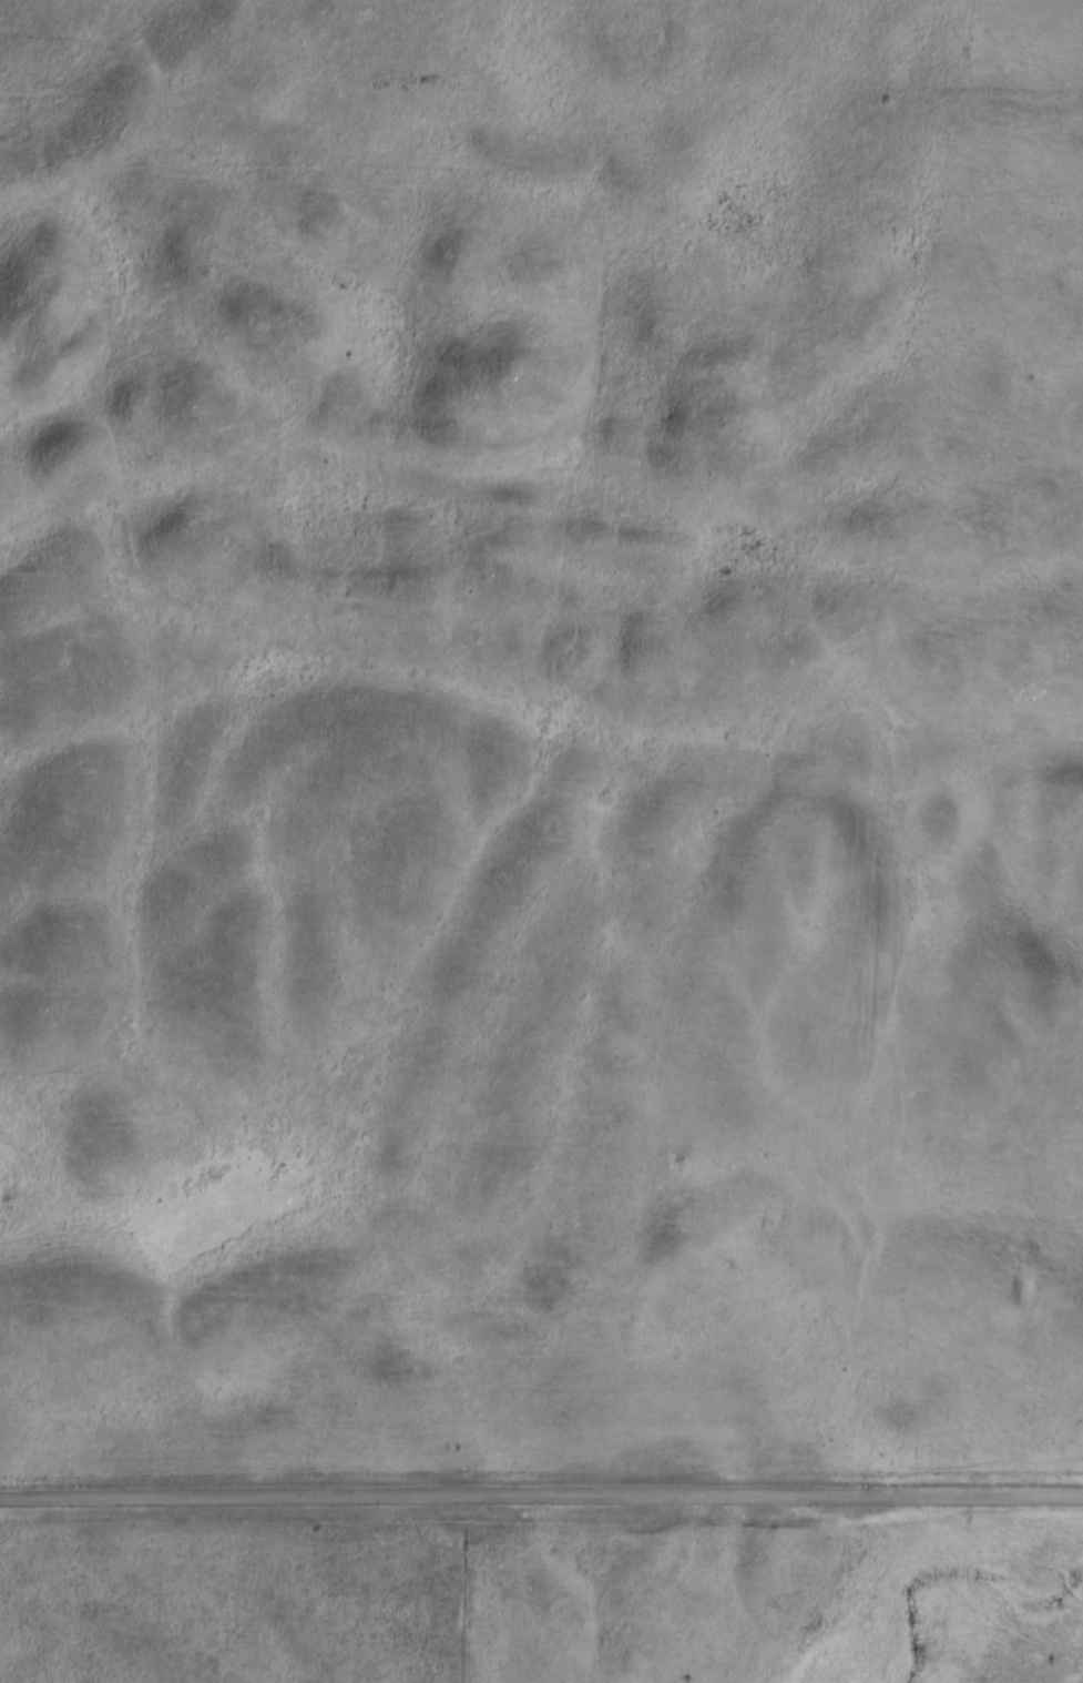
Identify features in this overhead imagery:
road: (541, 1500)

